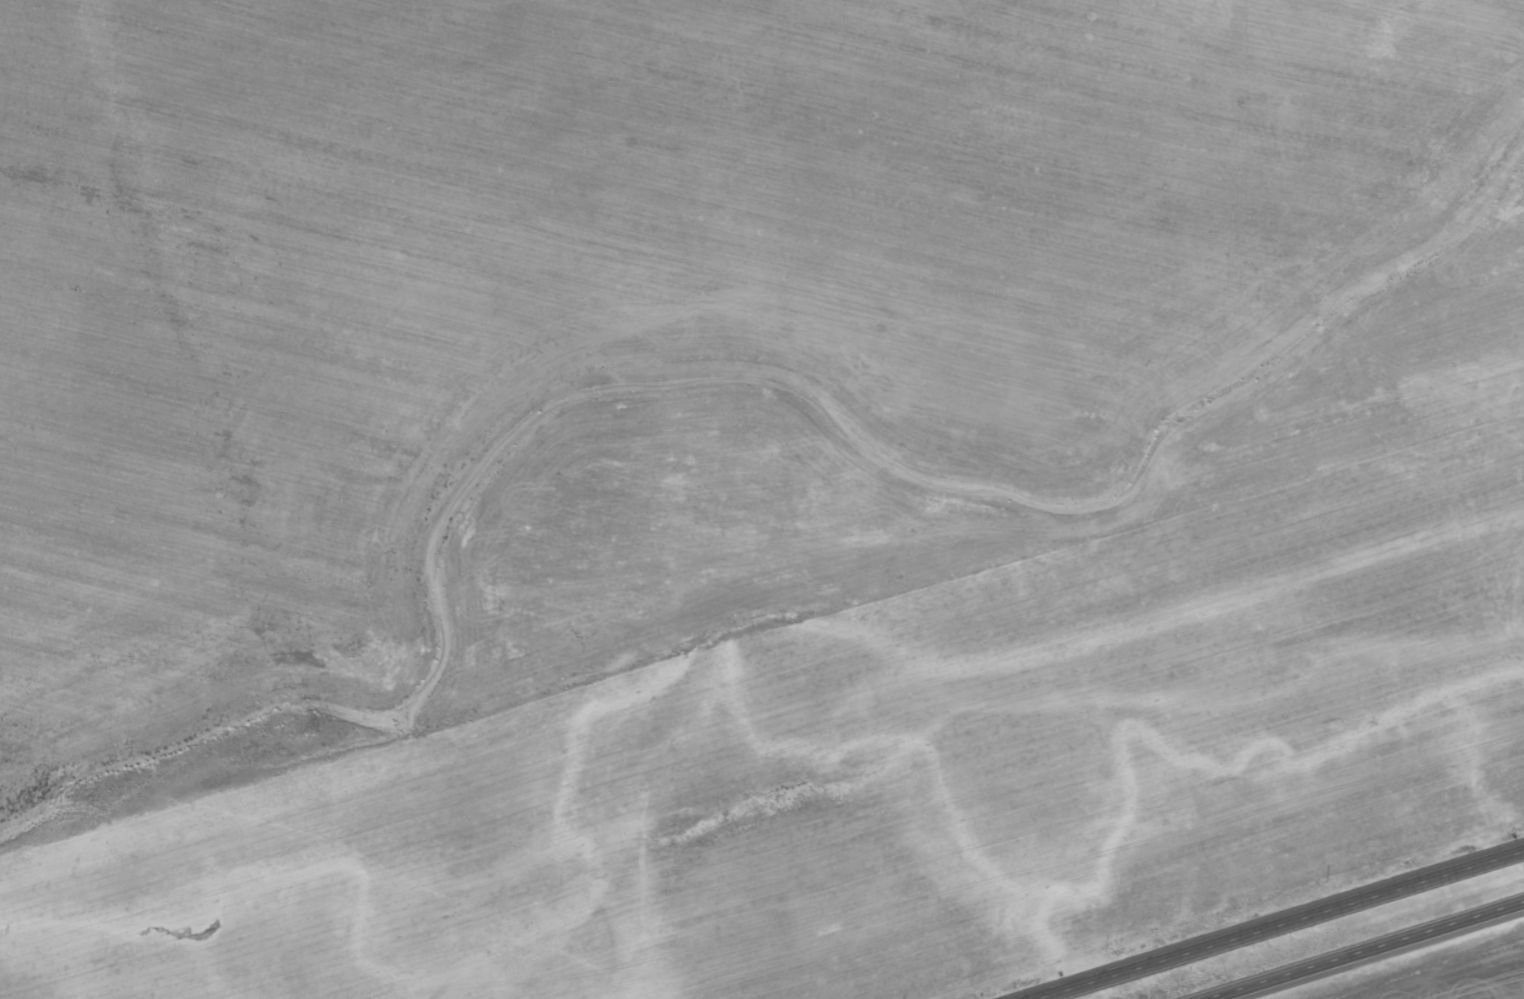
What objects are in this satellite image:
road: (1281, 925)
road: (1373, 952)

